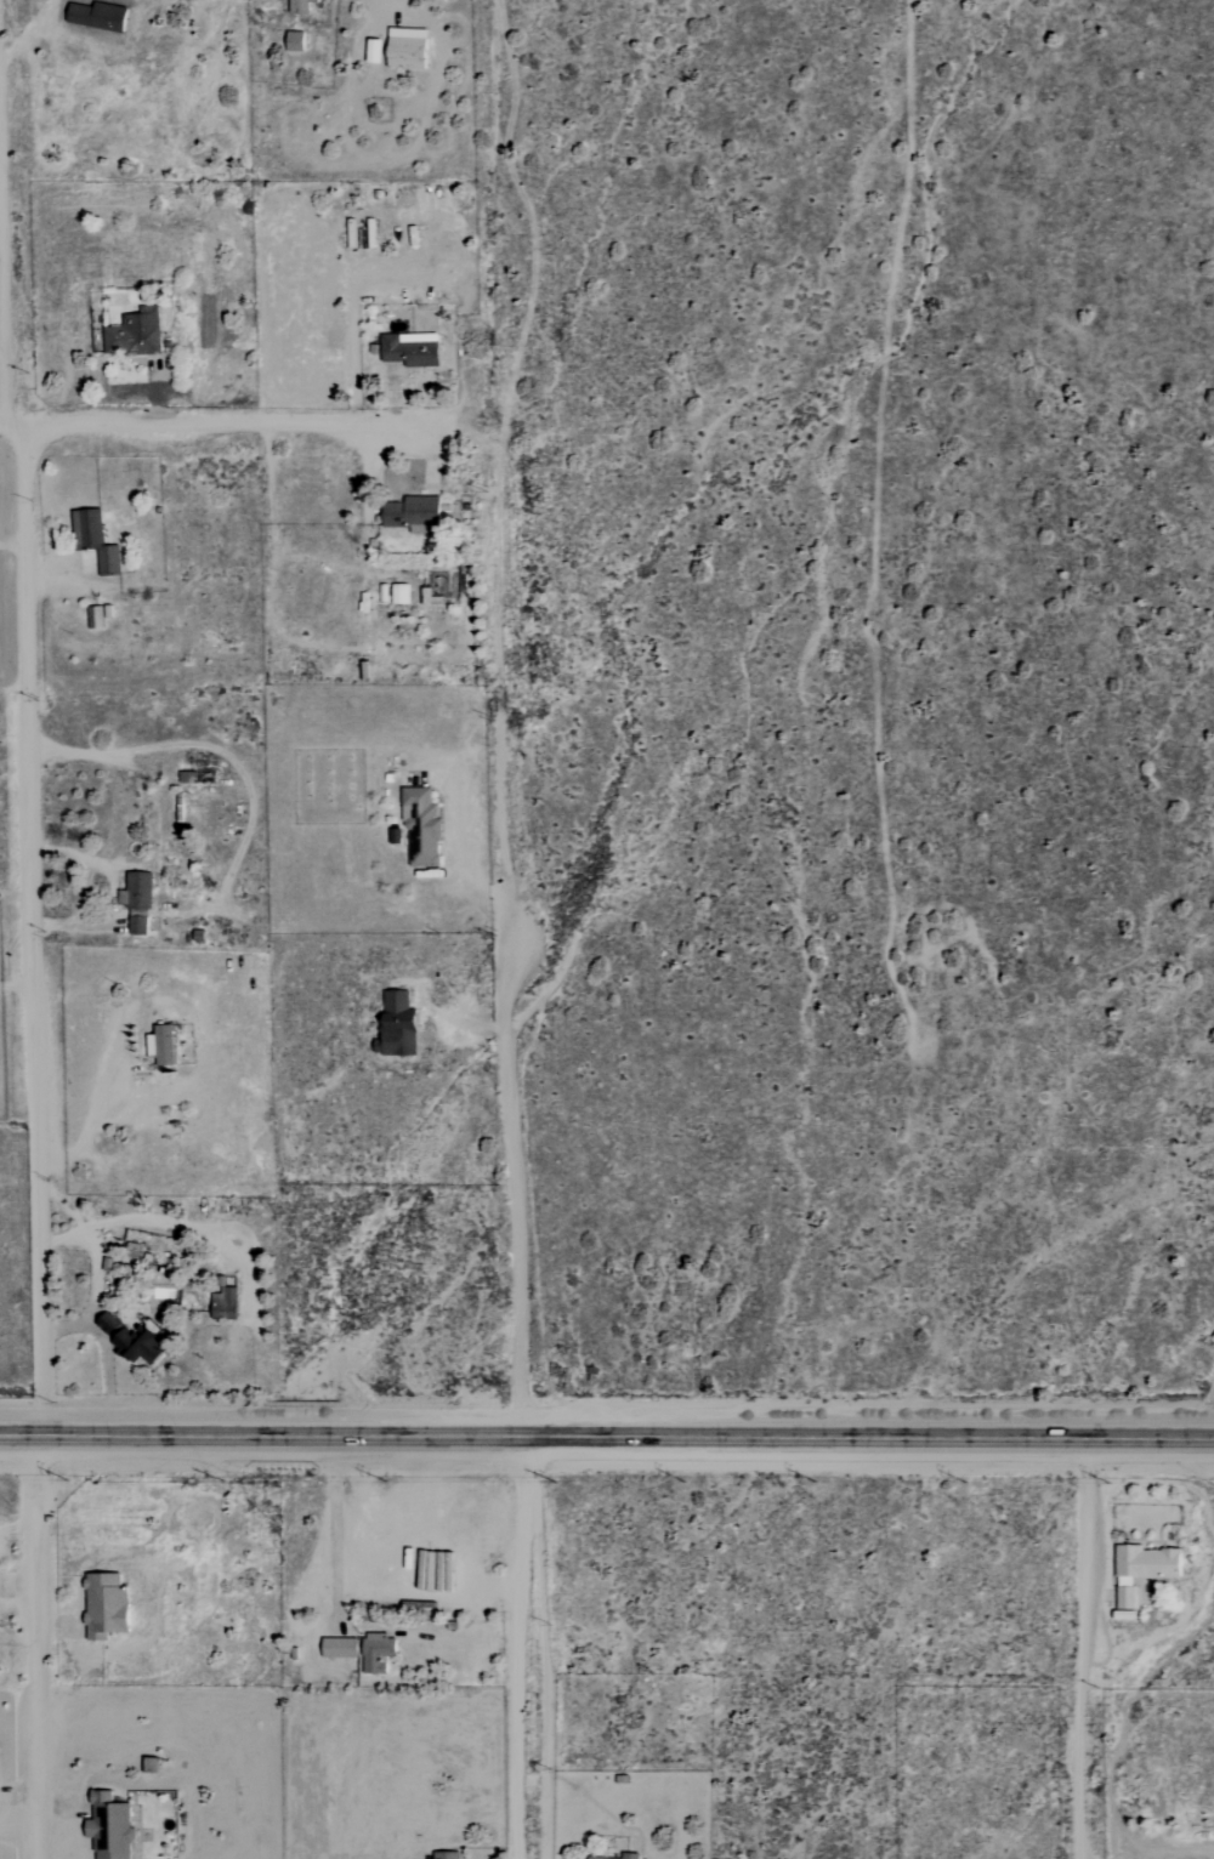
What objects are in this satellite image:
building: (438, 0)
building: (305, 6)
building: (103, 17)
road: (367, 27)
building: (300, 41)
building: (413, 49)
building: (380, 51)
building: (138, 334)
building: (415, 349)
road: (228, 425)
building: (101, 540)
road: (13, 544)
building: (396, 593)
building: (100, 616)
road: (159, 747)
road: (458, 854)
road: (113, 896)
building: (142, 902)
road: (35, 931)
road: (17, 989)
building: (166, 1045)
road: (91, 1124)
road: (512, 1167)
road: (95, 1260)
building: (228, 1303)
building: (137, 1341)
road: (107, 1353)
road: (606, 1436)
road: (334, 1528)
building: (1140, 1569)
building: (112, 1607)
road: (522, 1647)
road: (1083, 1647)
road: (41, 1648)
building: (622, 1855)
building: (600, 1858)

